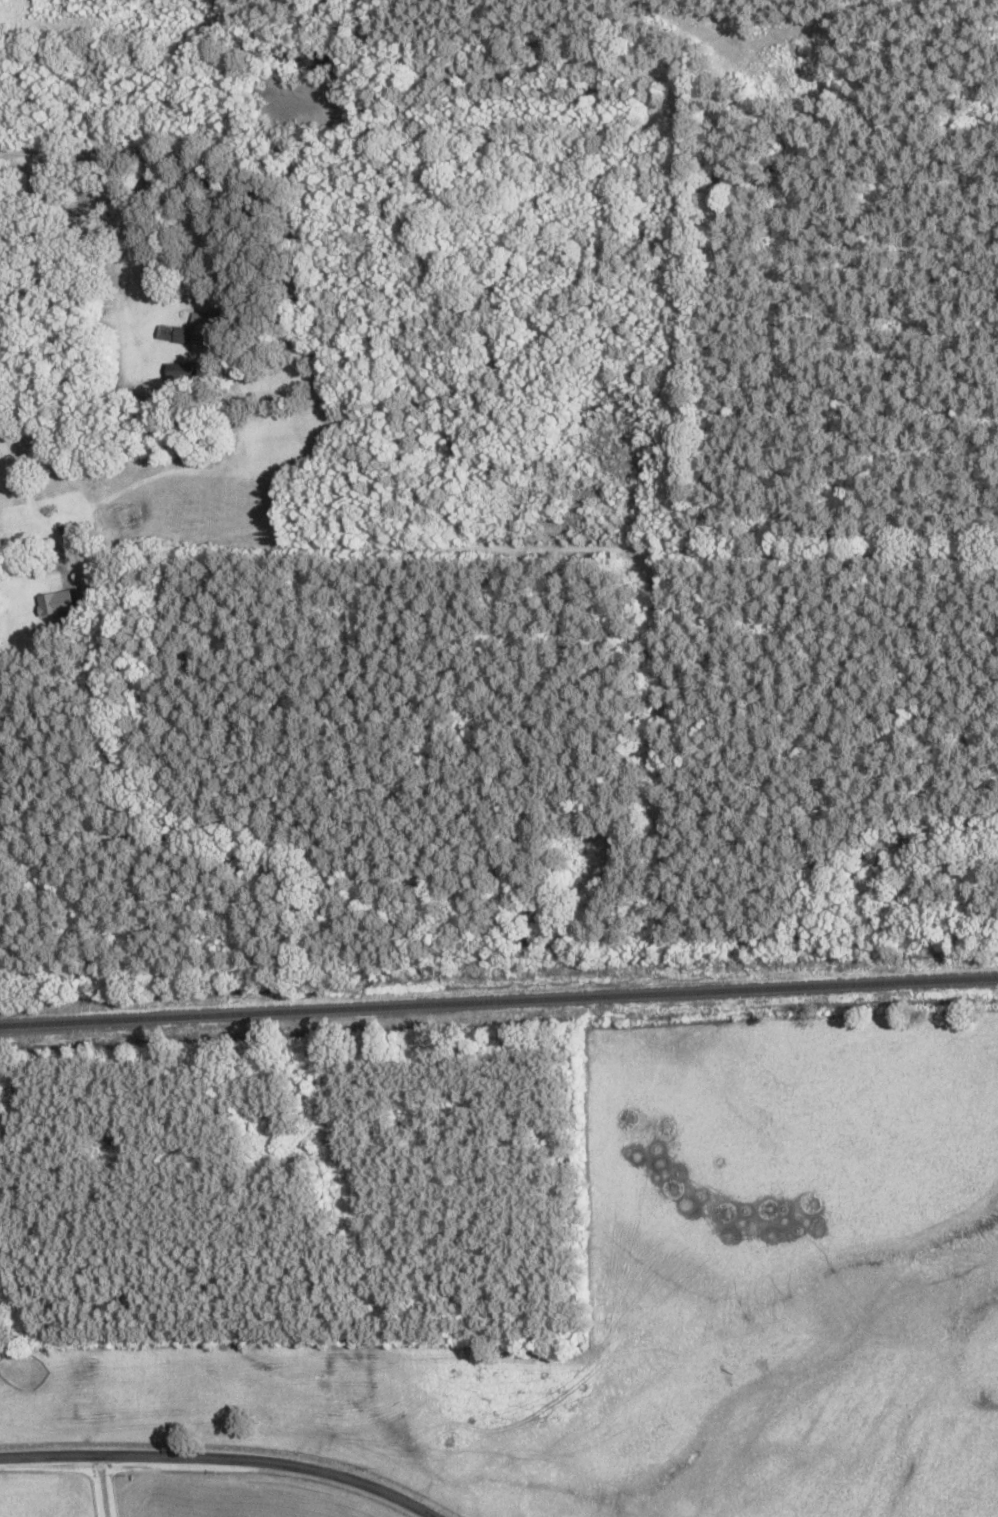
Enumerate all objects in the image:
building: (192, 332)
building: (180, 376)
building: (55, 603)
railway: (499, 1002)
road: (219, 1458)

